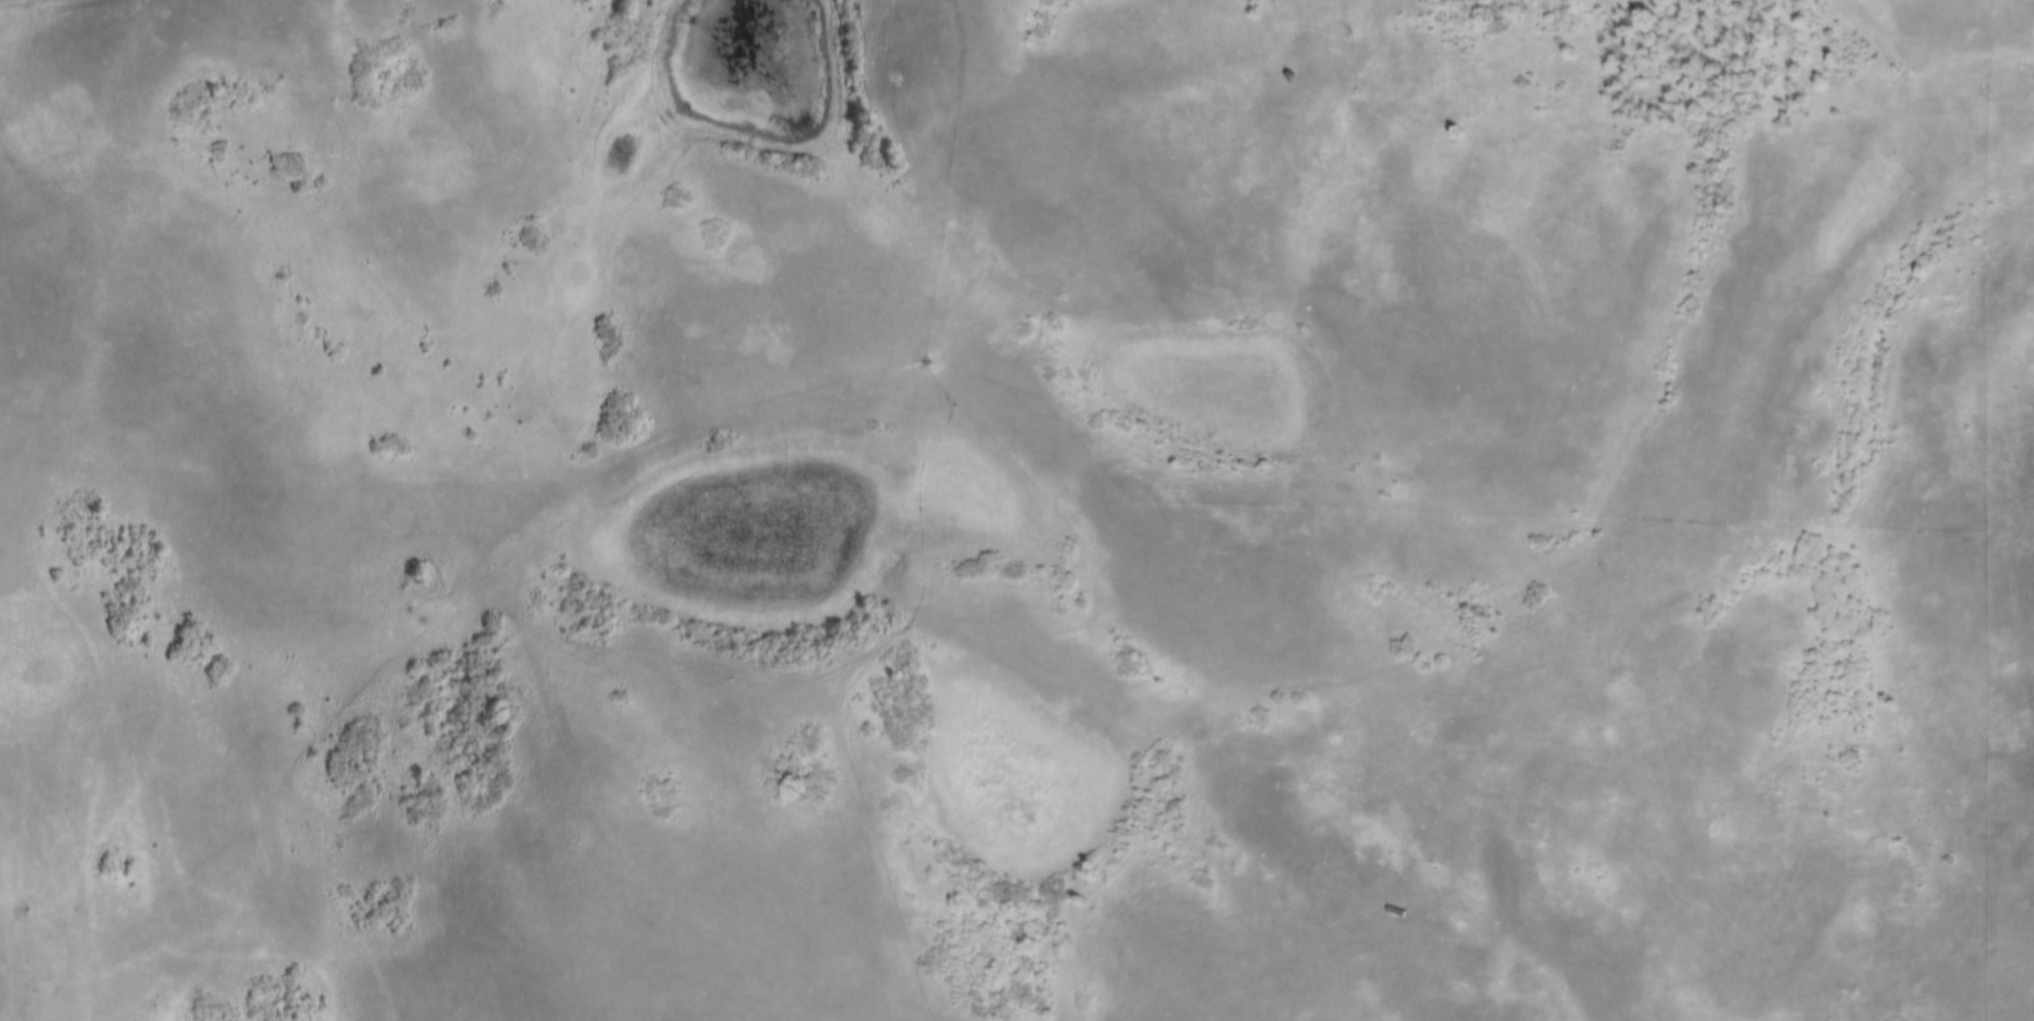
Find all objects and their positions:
road: (1, 0)

